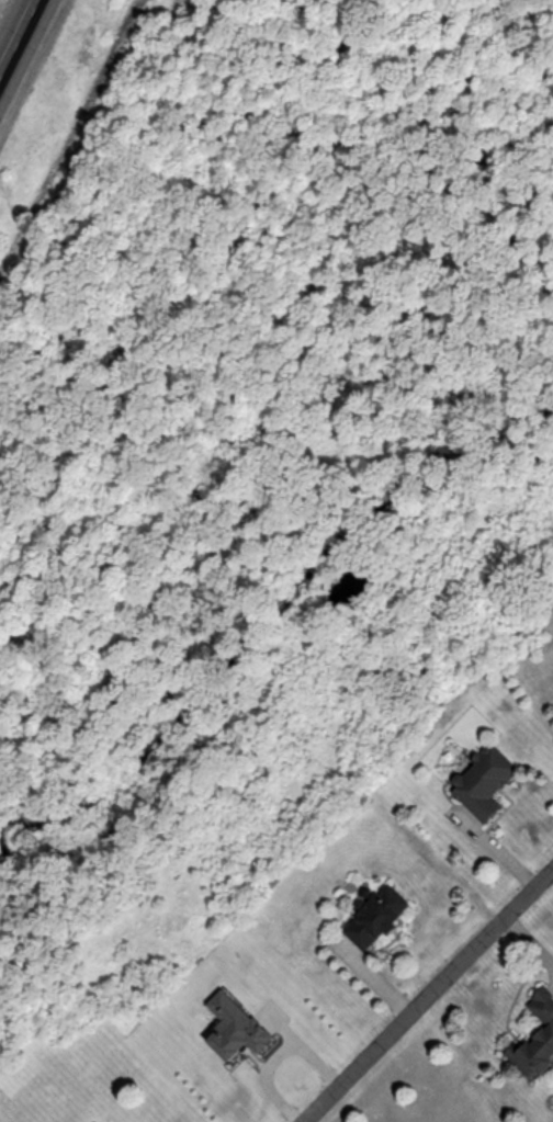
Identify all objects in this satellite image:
road: (21, 42)
building: (485, 782)
road: (499, 852)
building: (377, 917)
road: (431, 1001)
building: (538, 1039)

